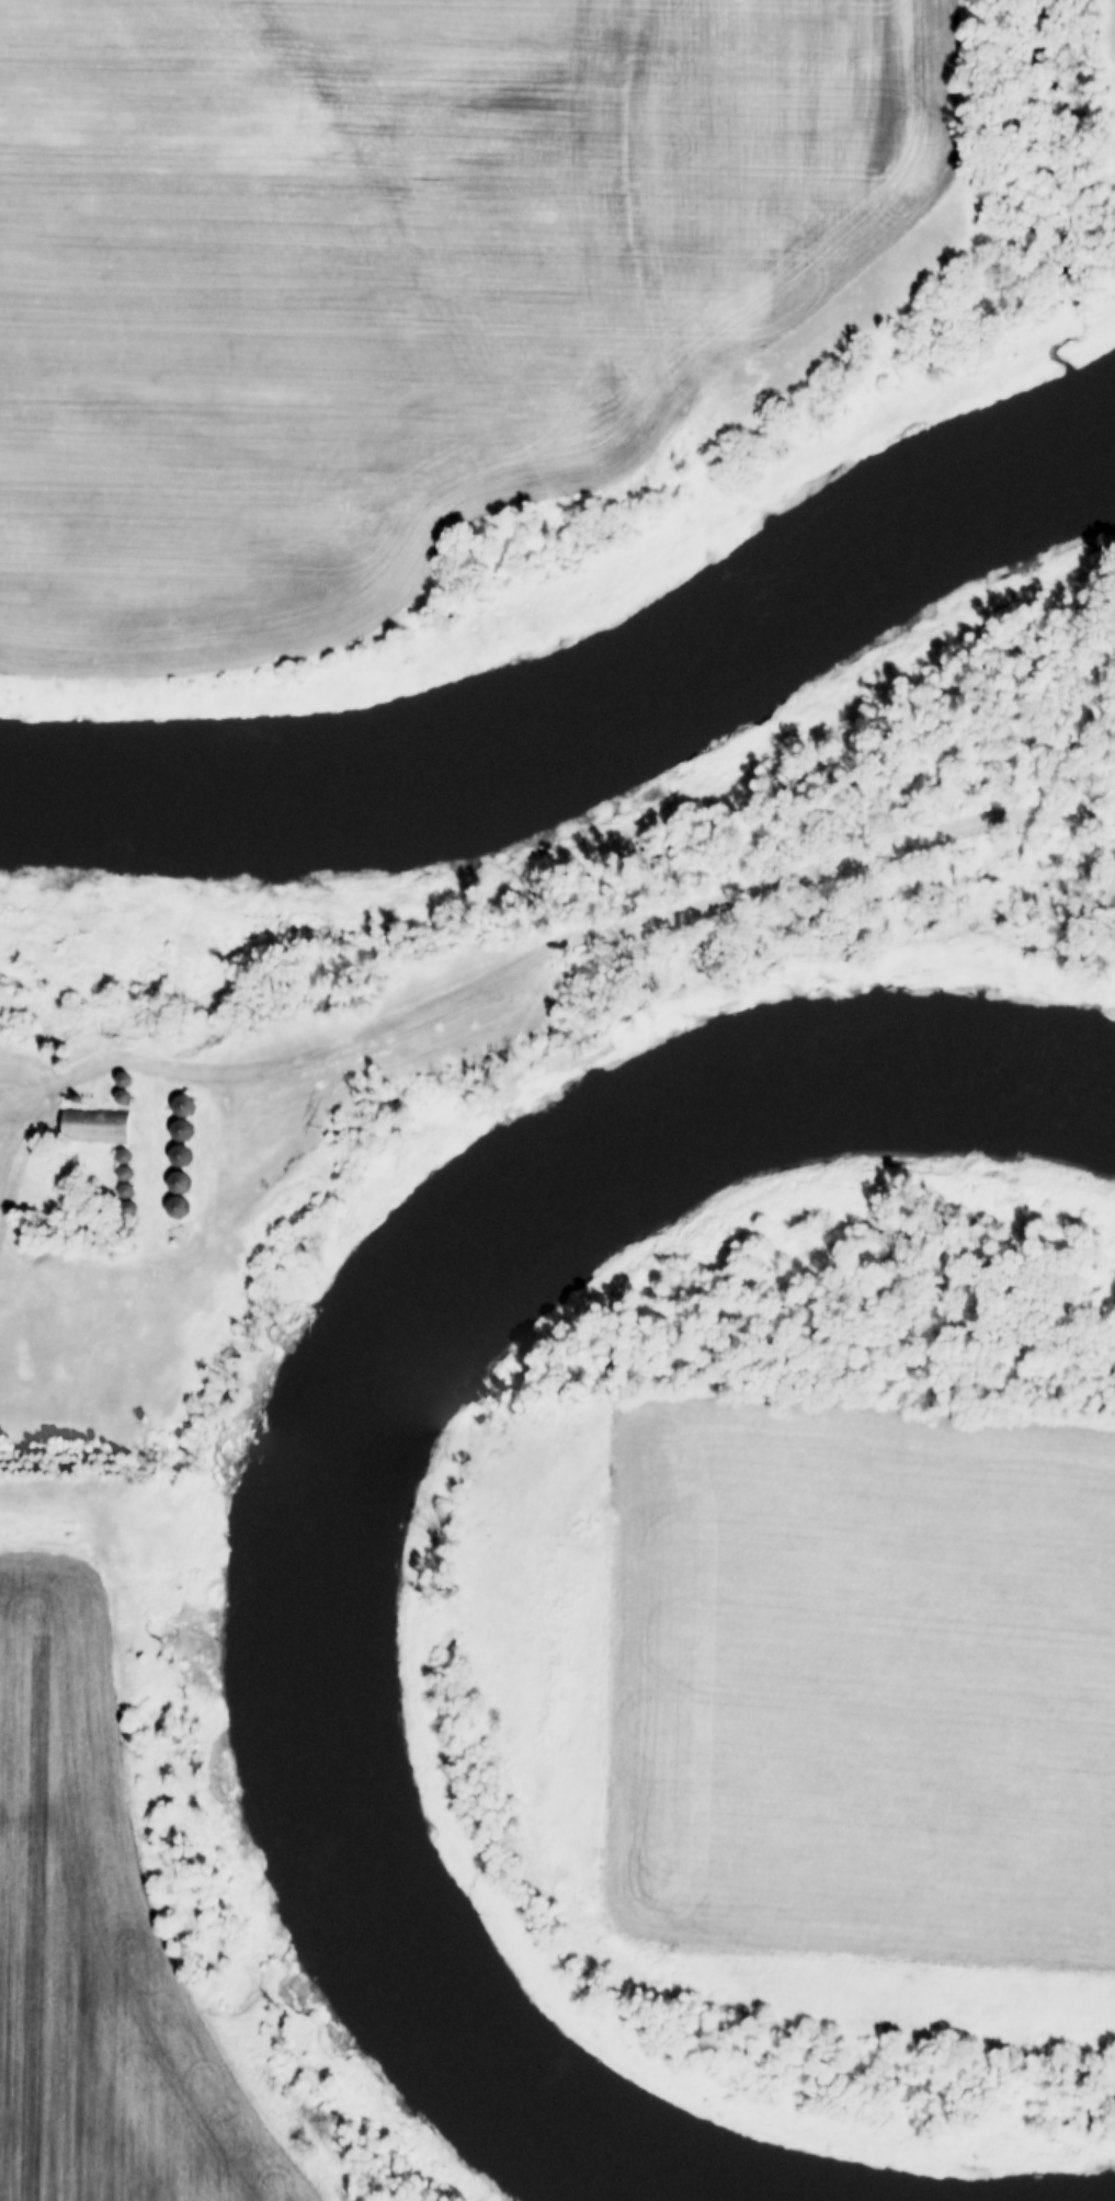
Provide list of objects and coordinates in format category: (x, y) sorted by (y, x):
river: (590, 723)
road: (12, 1122)
river: (418, 1444)

